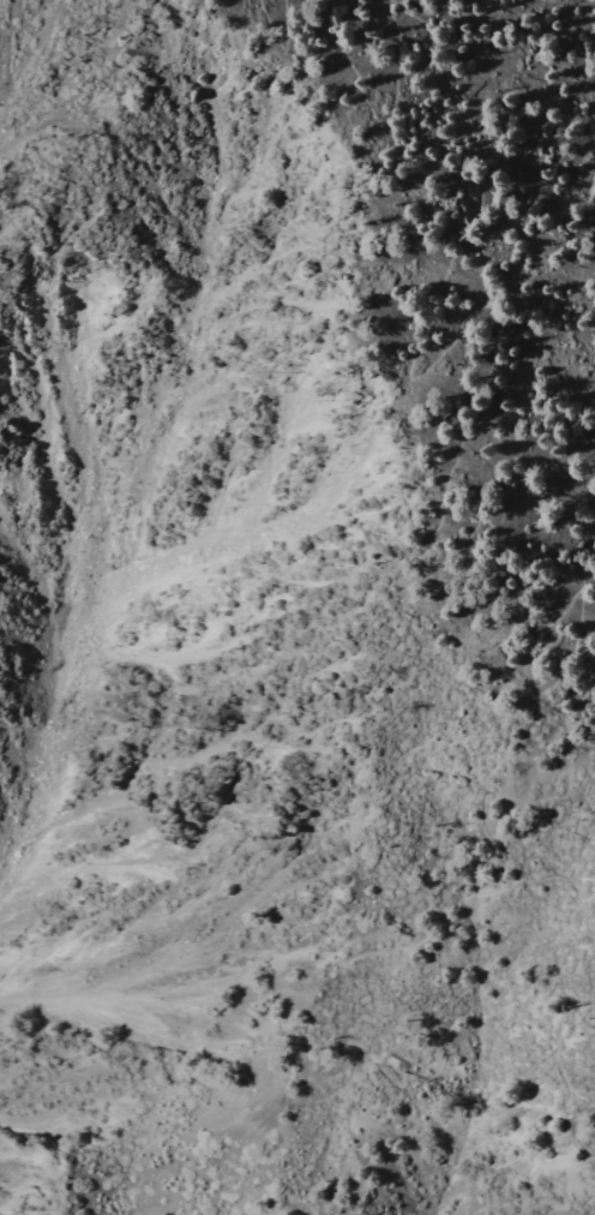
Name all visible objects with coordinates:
road: (286, 36)
road: (387, 125)
road: (438, 517)
road: (375, 970)

